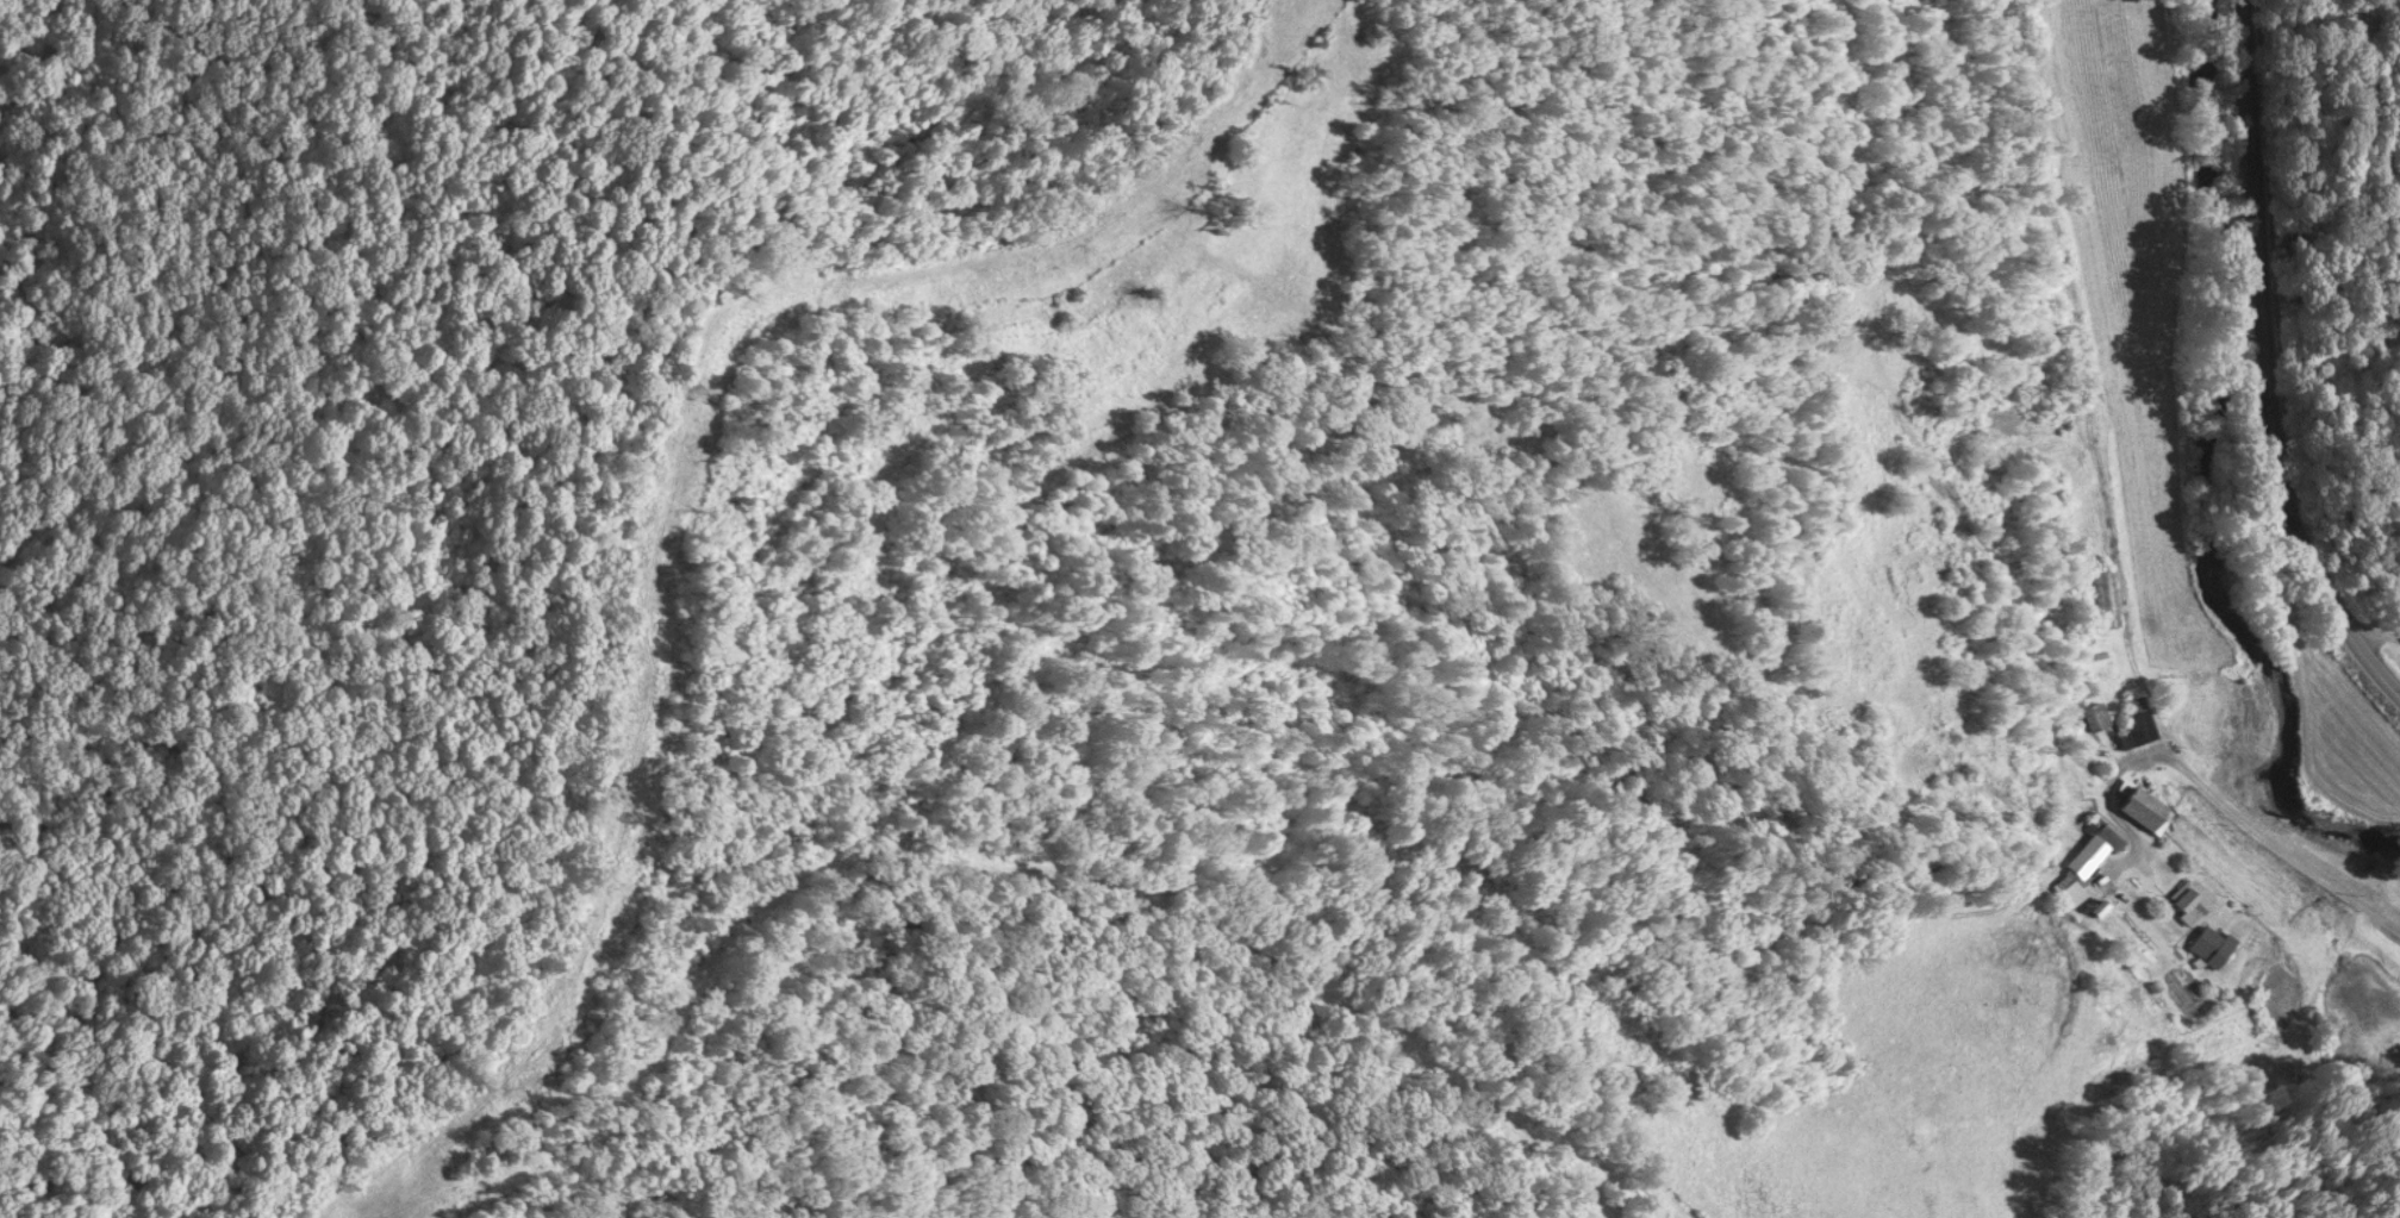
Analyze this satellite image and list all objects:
road: (2261, 367)
building: (2105, 601)
road: (2375, 635)
building: (2095, 720)
building: (2138, 727)
building: (2145, 812)
road: (2259, 844)
building: (2078, 875)
building: (2189, 904)
building: (2212, 948)

